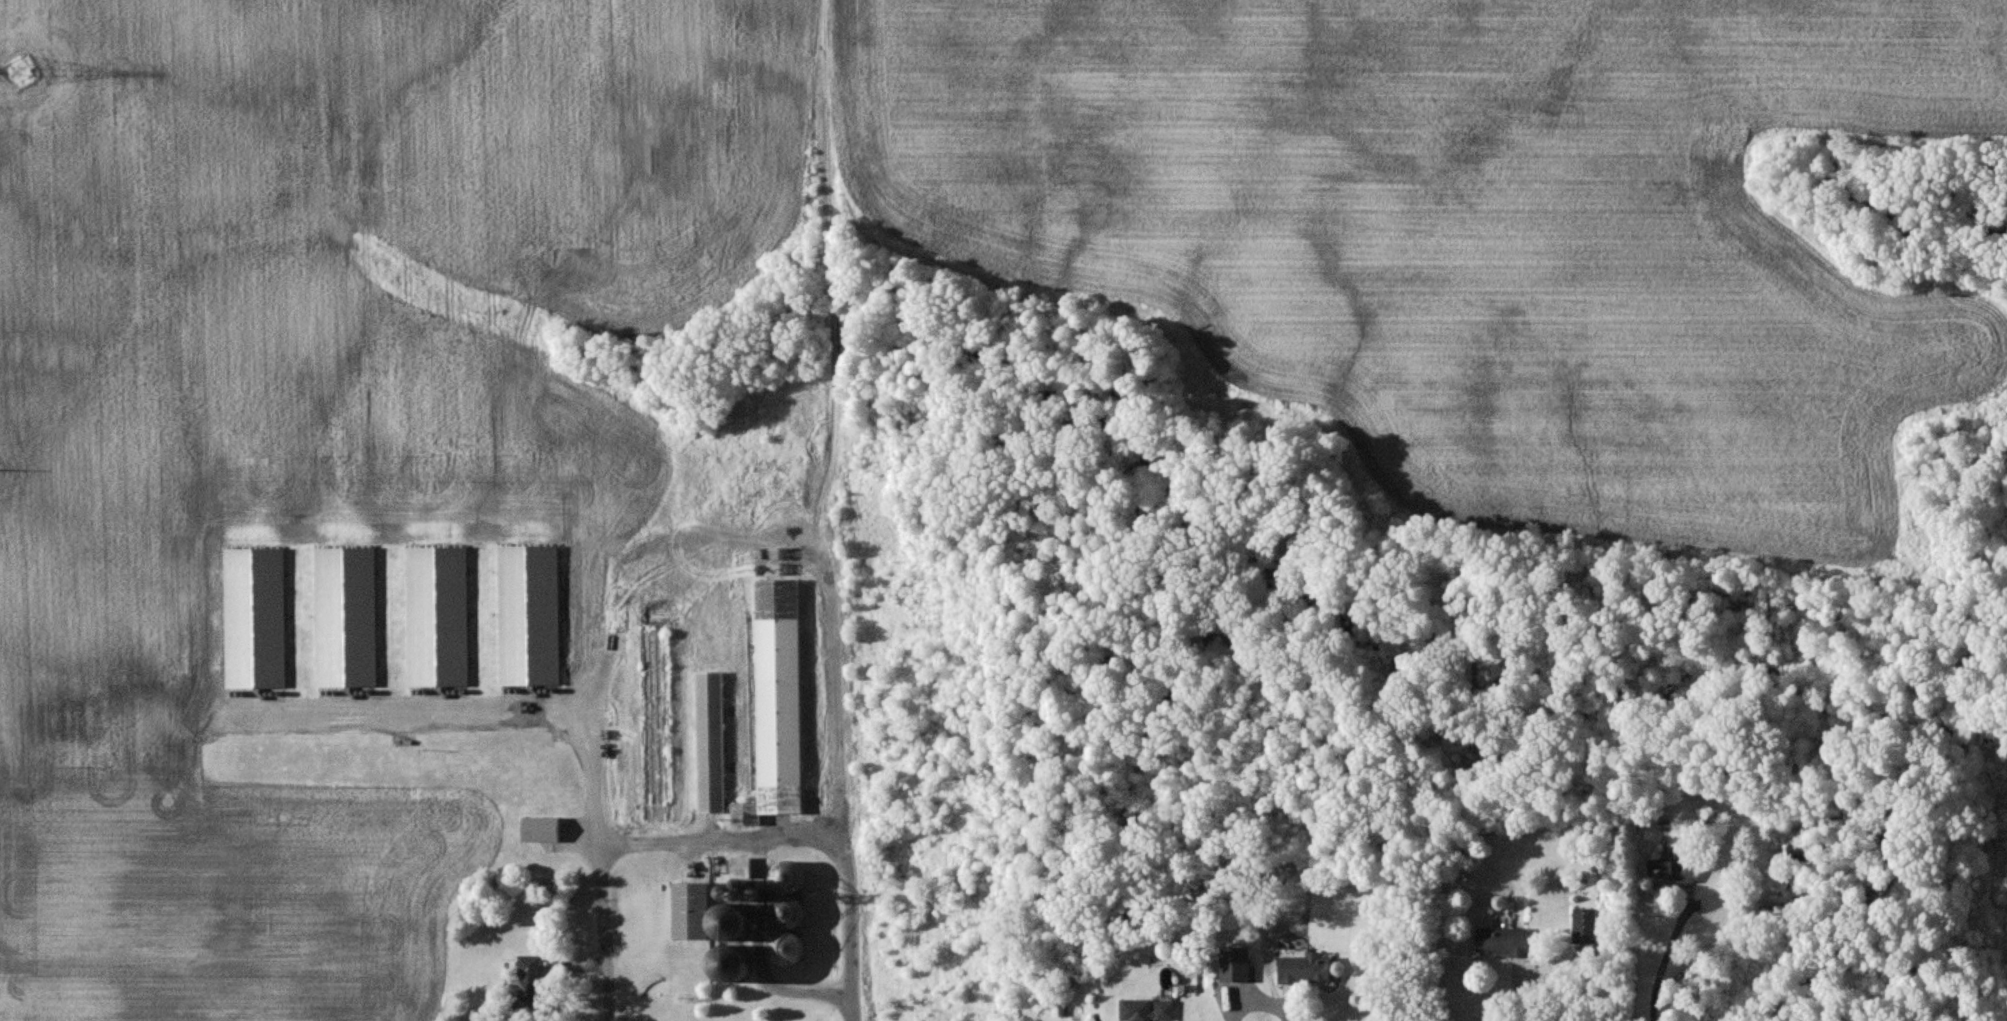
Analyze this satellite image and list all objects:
power tower: (29, 72)
road: (828, 262)
building: (774, 702)
road: (569, 717)
building: (707, 741)
road: (844, 772)
building: (539, 828)
road: (722, 844)
building: (738, 866)
building: (1668, 871)
building: (785, 913)
building: (1583, 926)
building: (710, 928)
building: (1500, 940)
road: (1669, 958)
building: (1233, 963)
building: (1302, 968)
building: (525, 980)
road: (1518, 994)
road: (803, 996)
road: (1257, 1004)
building: (1143, 1009)

